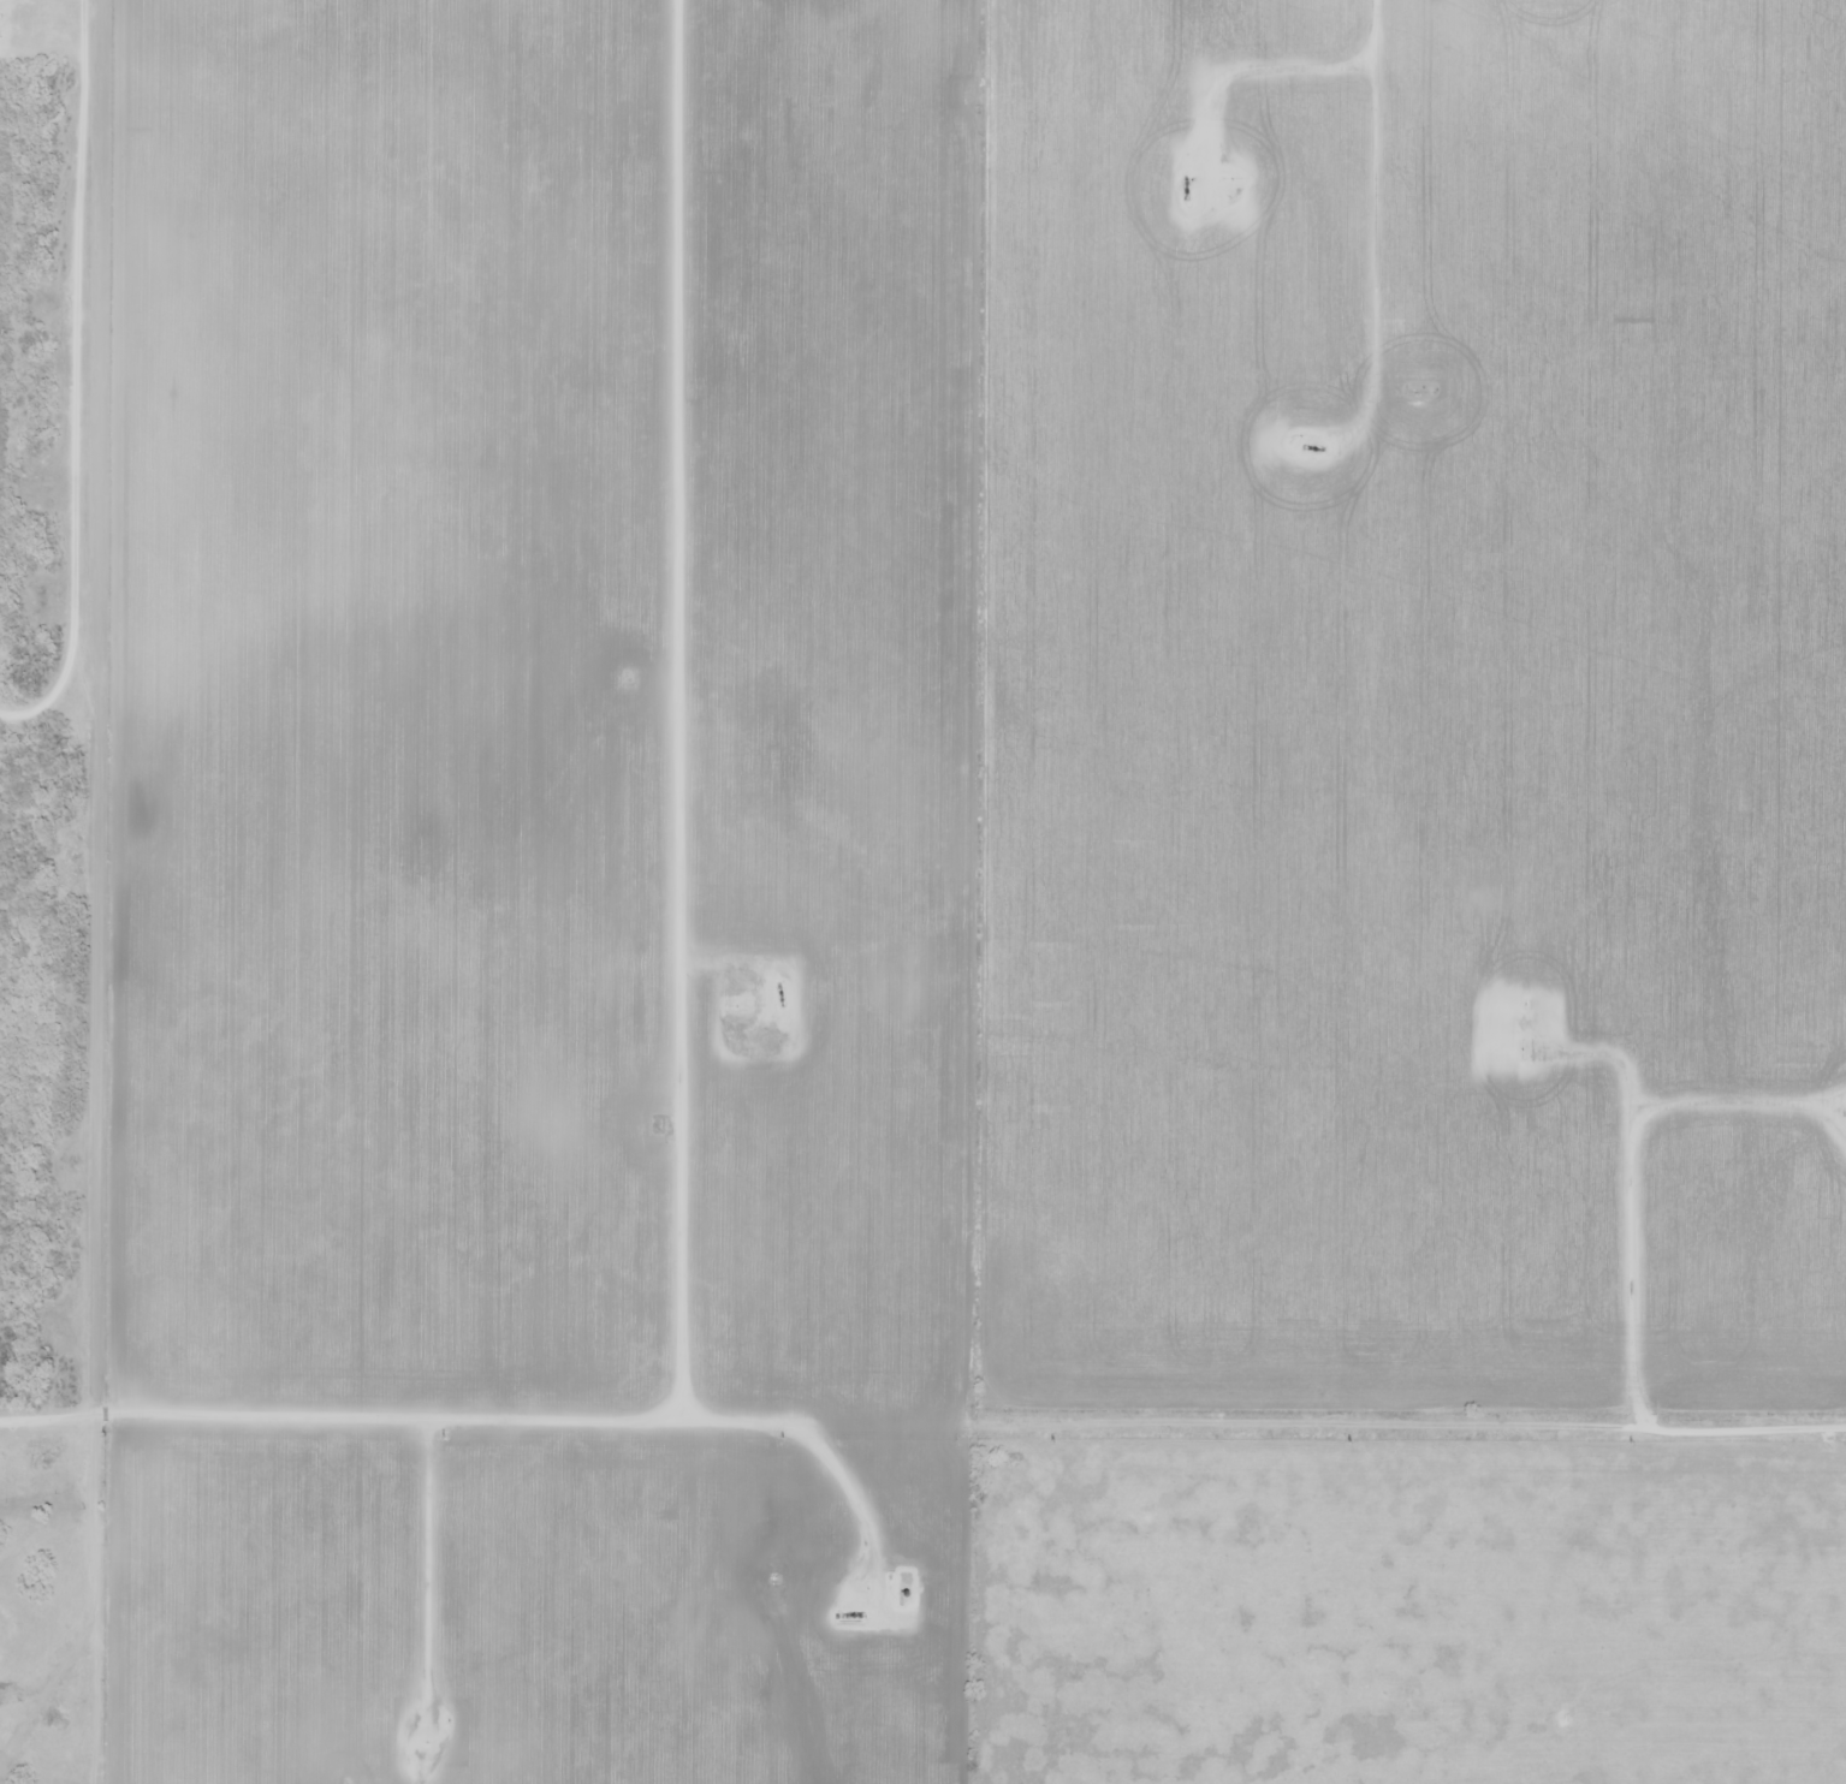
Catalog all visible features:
road: (1375, 184)
road: (54, 262)
road: (1438, 703)
road: (922, 1411)
power tower: (103, 1437)
power tower: (443, 1438)
power tower: (780, 1441)
power tower: (1053, 1441)
power tower: (1348, 1441)
power tower: (1630, 1443)

